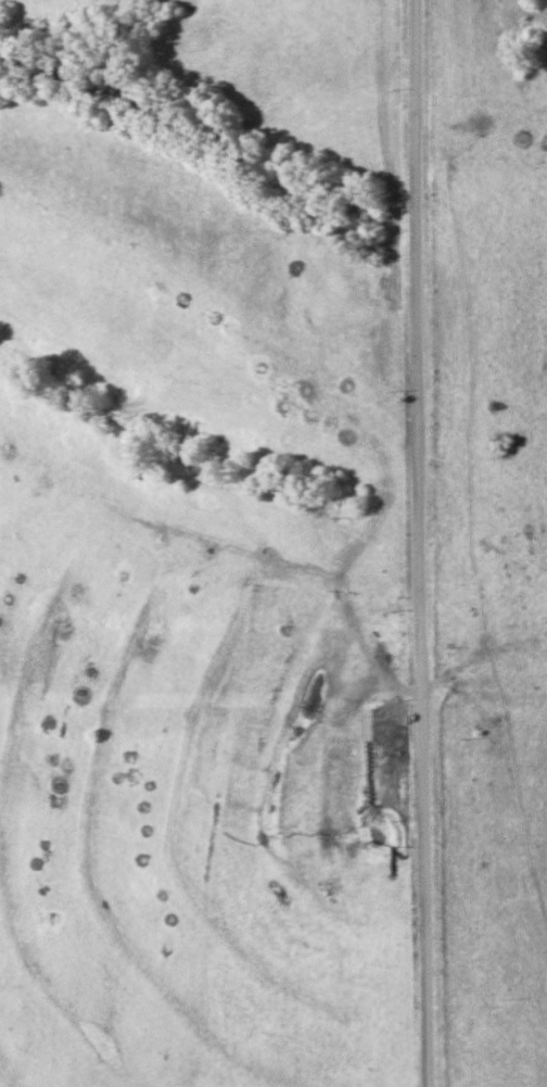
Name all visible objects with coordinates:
road: (423, 543)

